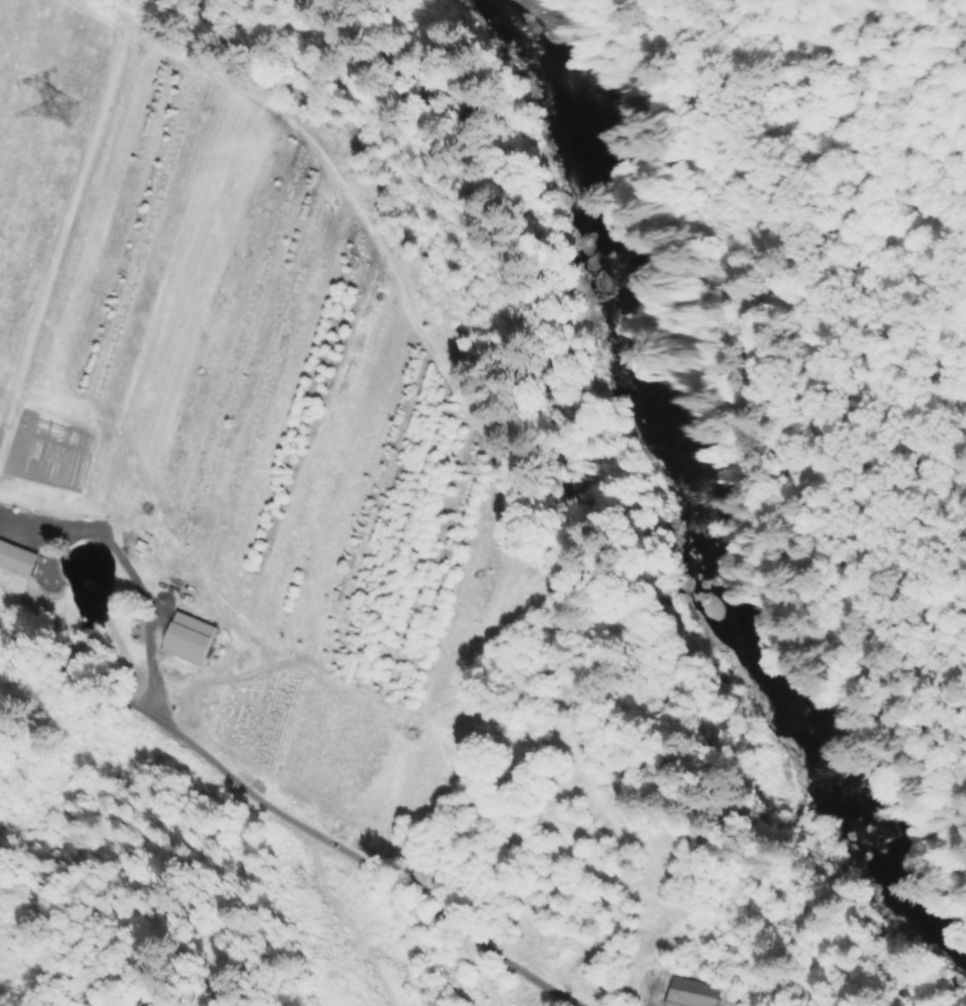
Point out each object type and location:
power tower: (60, 115)
river: (663, 506)
building: (129, 545)
building: (18, 558)
road: (131, 569)
building: (192, 643)
road: (285, 810)
building: (695, 994)

